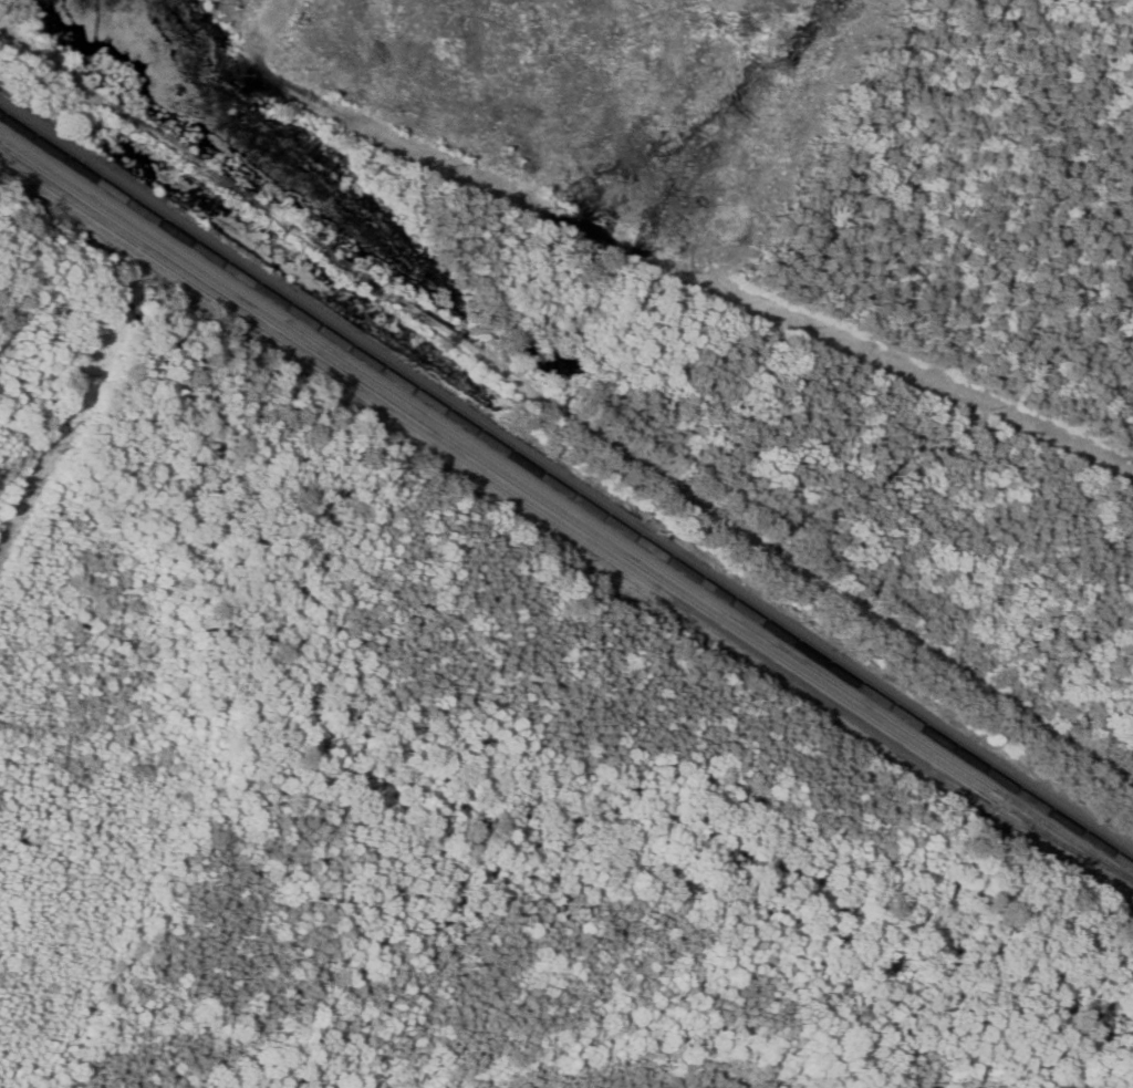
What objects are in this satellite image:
railway: (566, 480)
railway: (566, 491)
railway: (534, 495)
railway: (565, 504)
railway: (560, 526)

